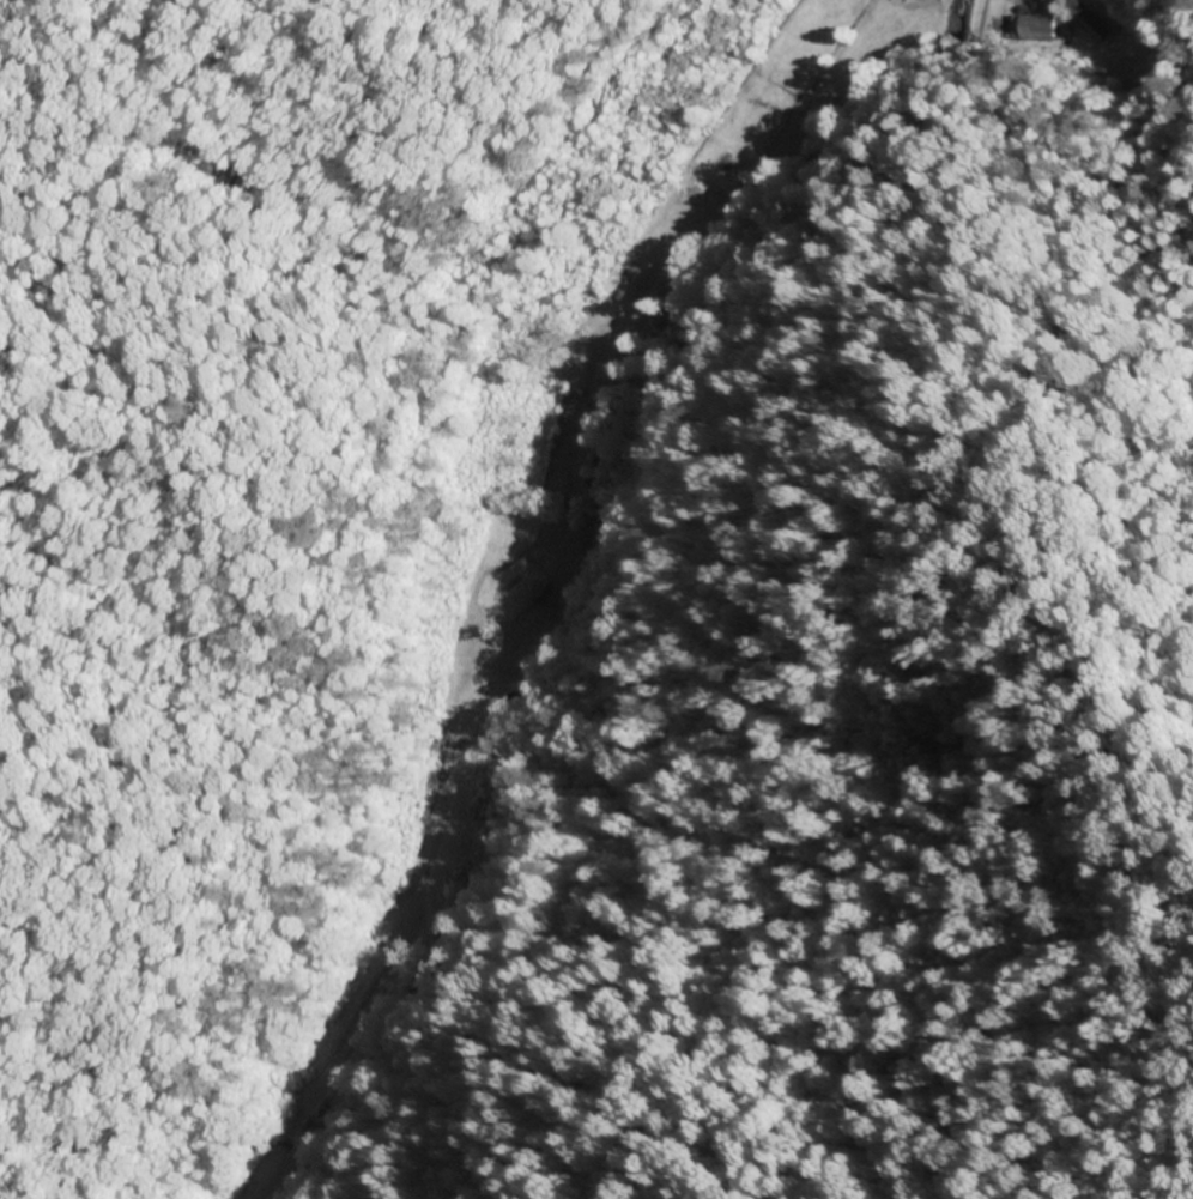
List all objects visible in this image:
building: (1023, 26)

